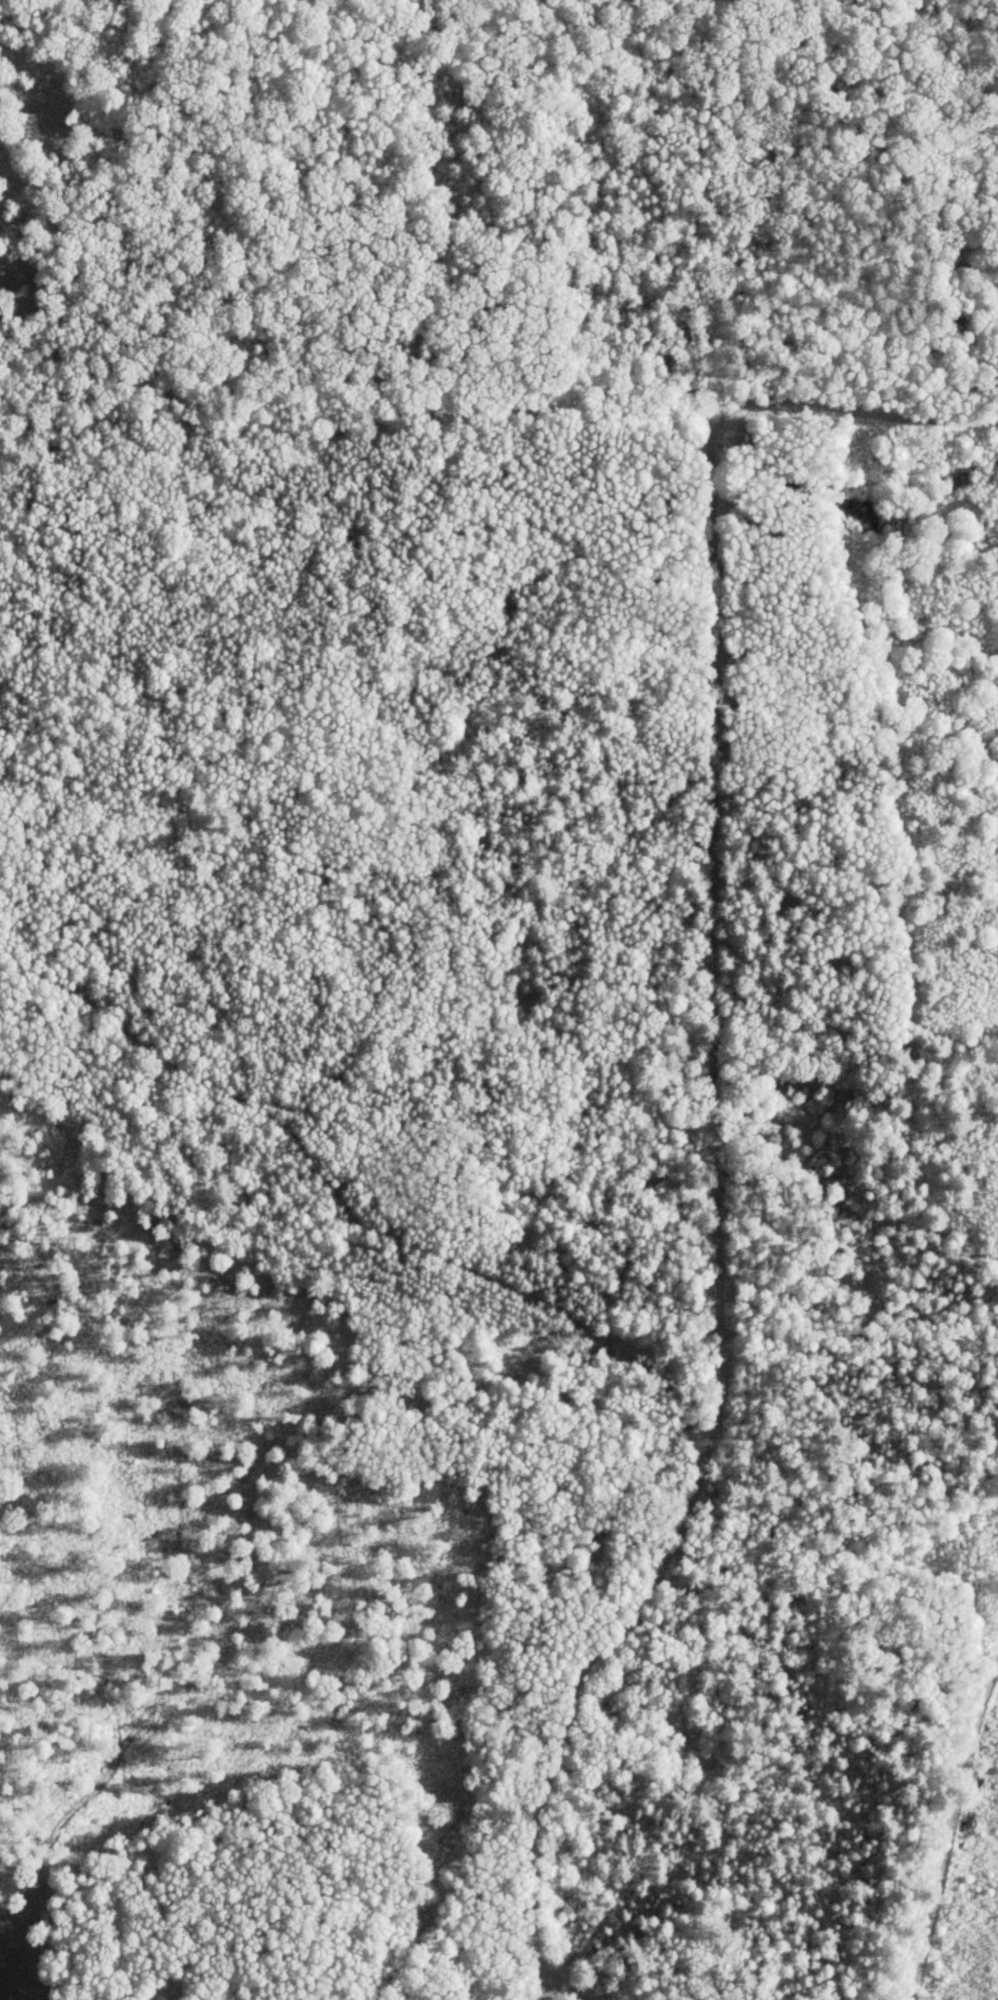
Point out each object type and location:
road: (498, 407)
road: (36, 933)
road: (718, 946)
road: (616, 1346)
road: (945, 1828)
road: (18, 1986)

